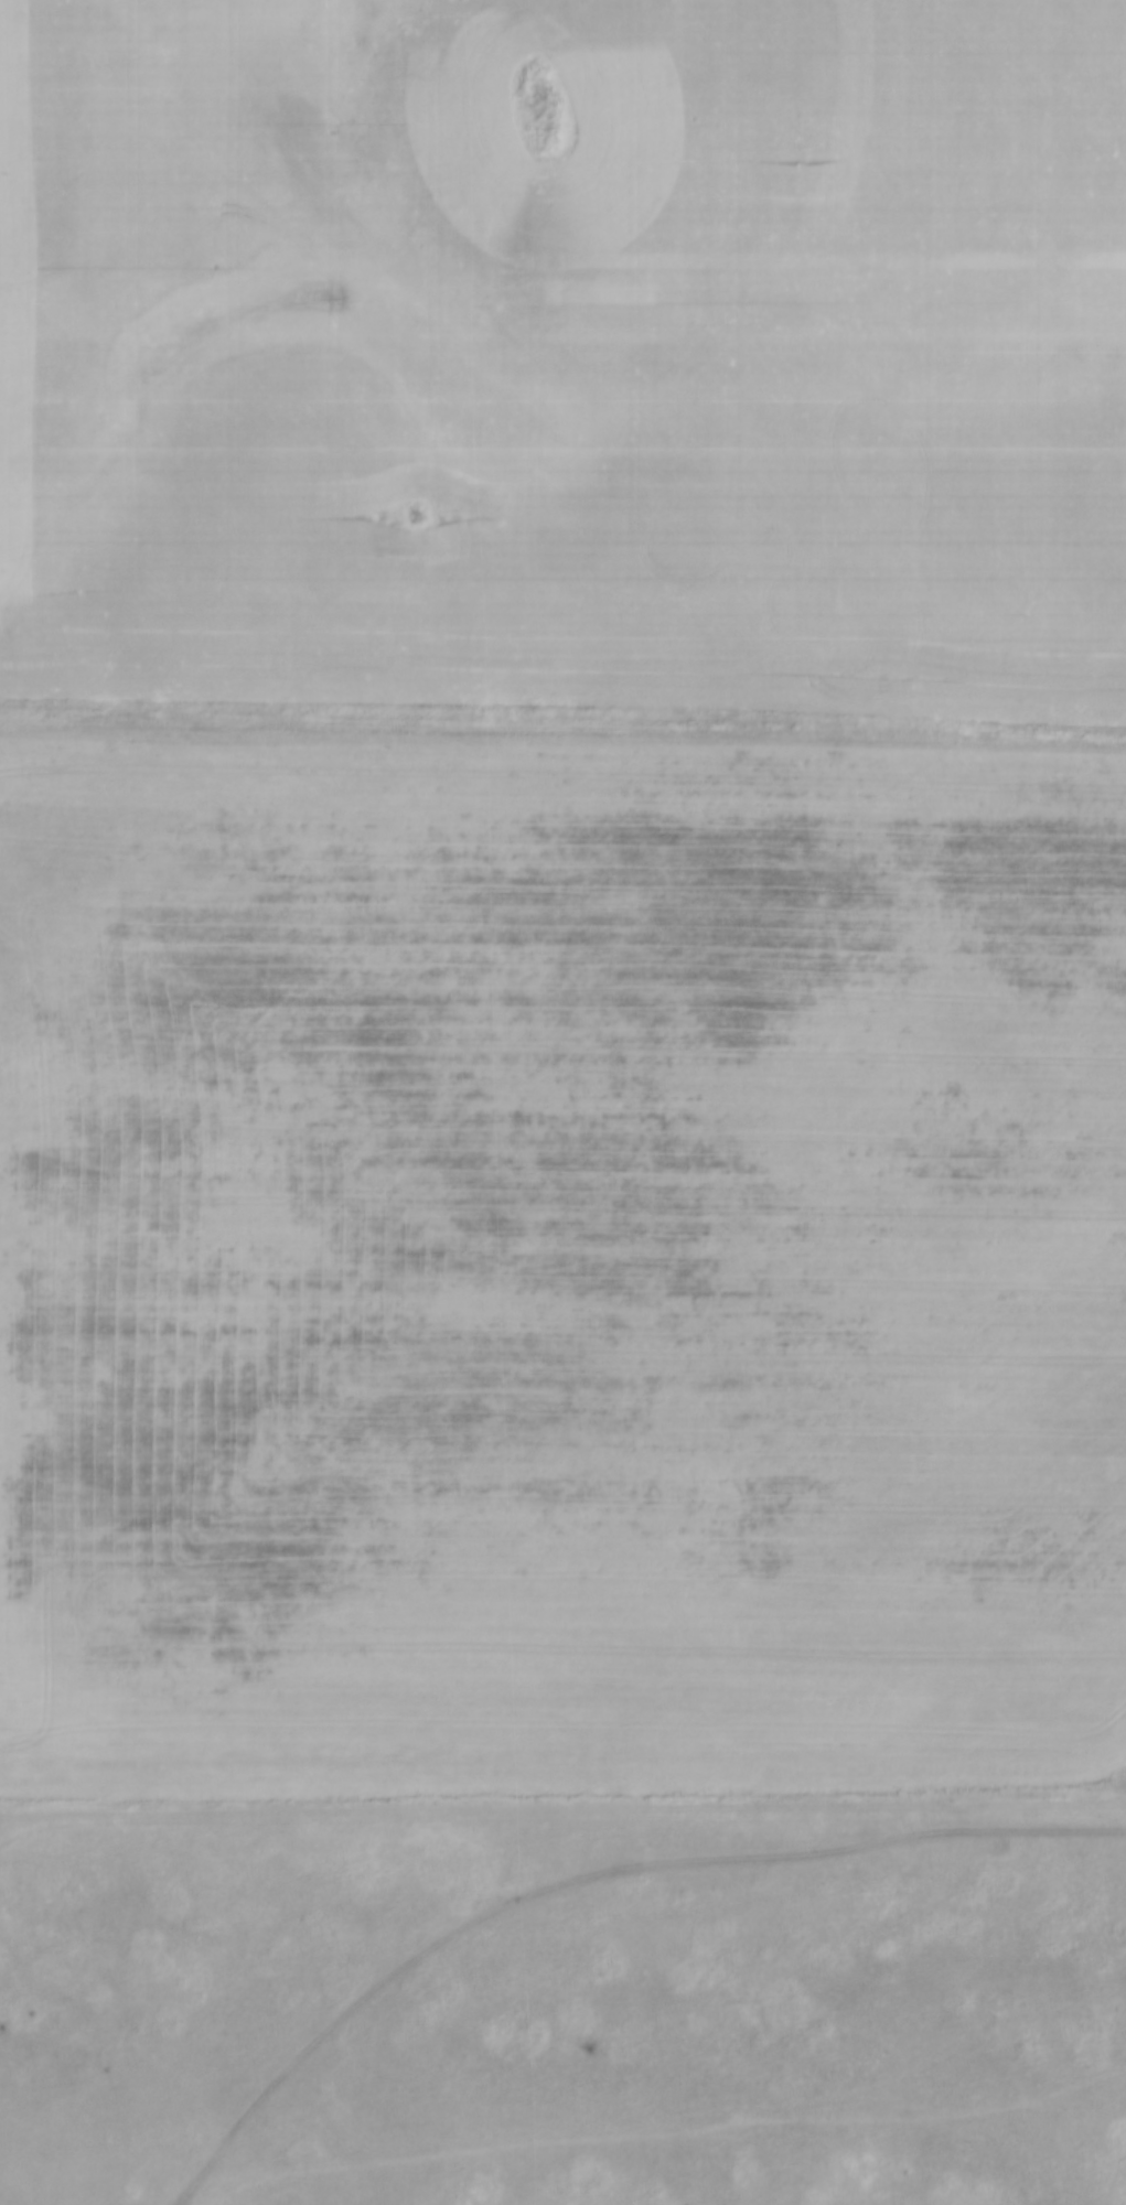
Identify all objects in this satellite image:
road: (589, 1879)

